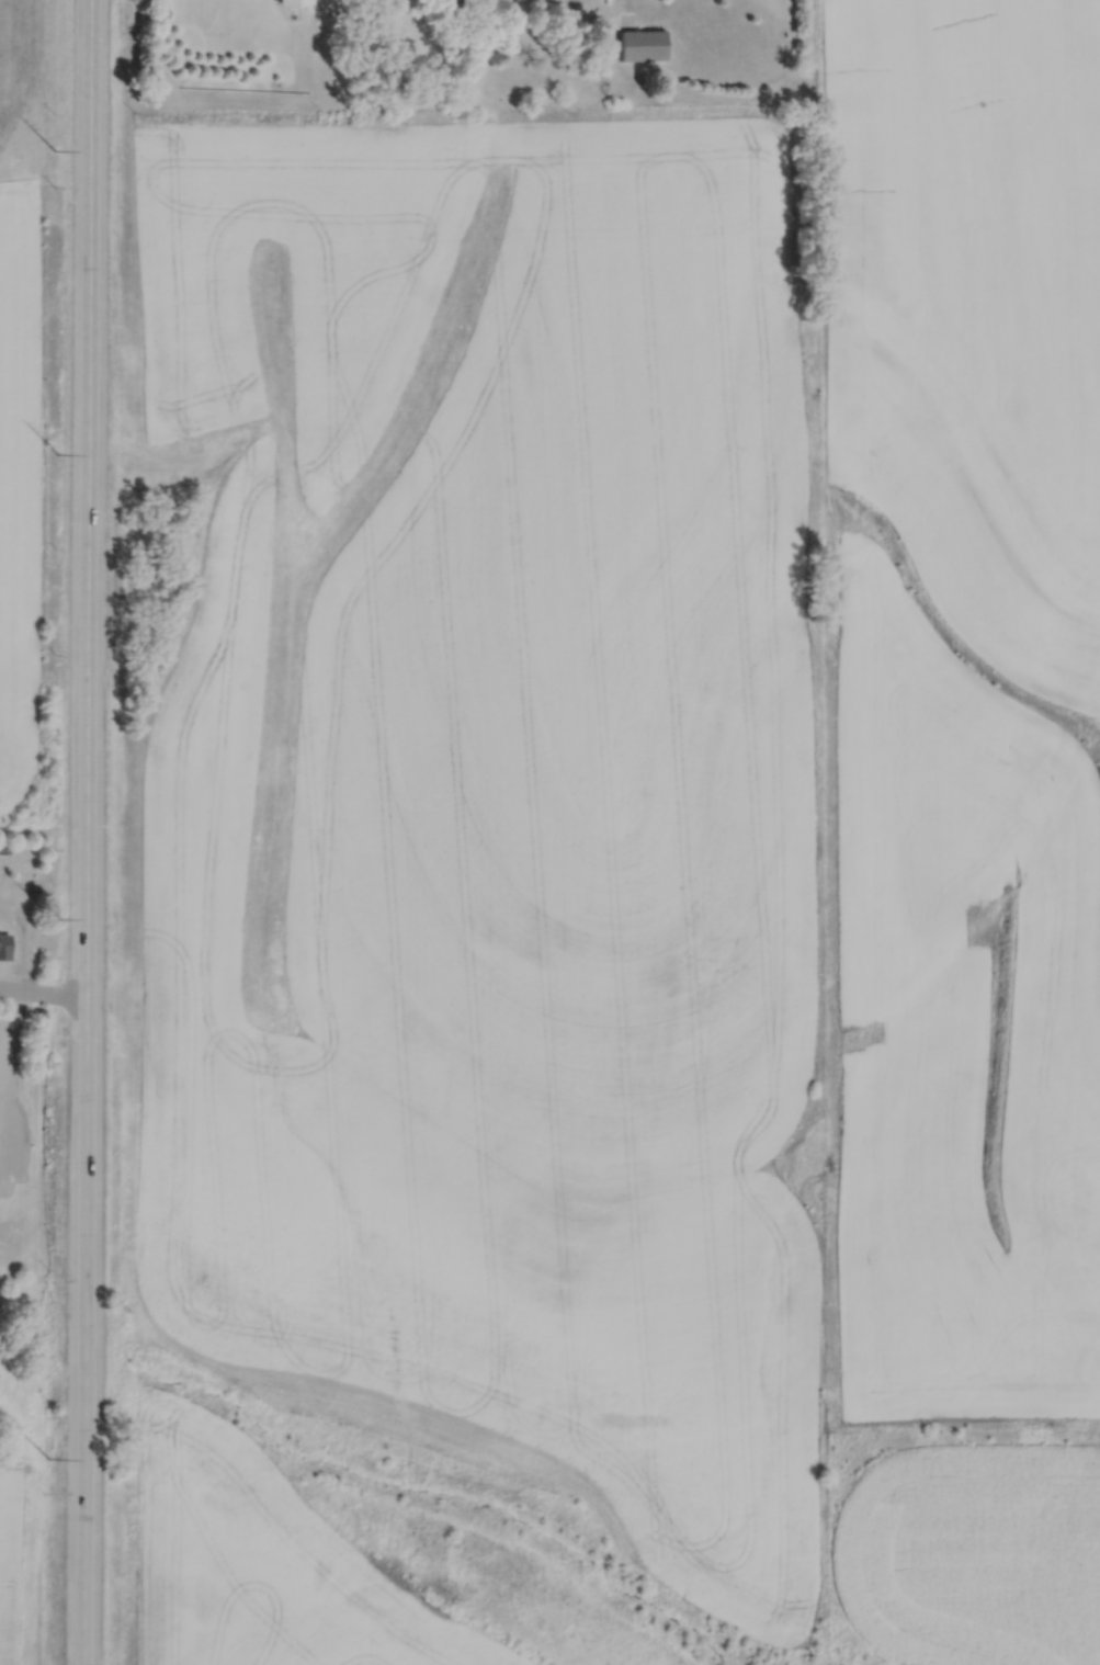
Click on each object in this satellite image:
building: (291, 2)
building: (444, 3)
building: (639, 46)
power tower: (53, 150)
power tower: (55, 453)
road: (83, 831)
building: (14, 913)
power tower: (50, 919)
road: (0, 989)
road: (41, 992)
power tower: (47, 1459)

